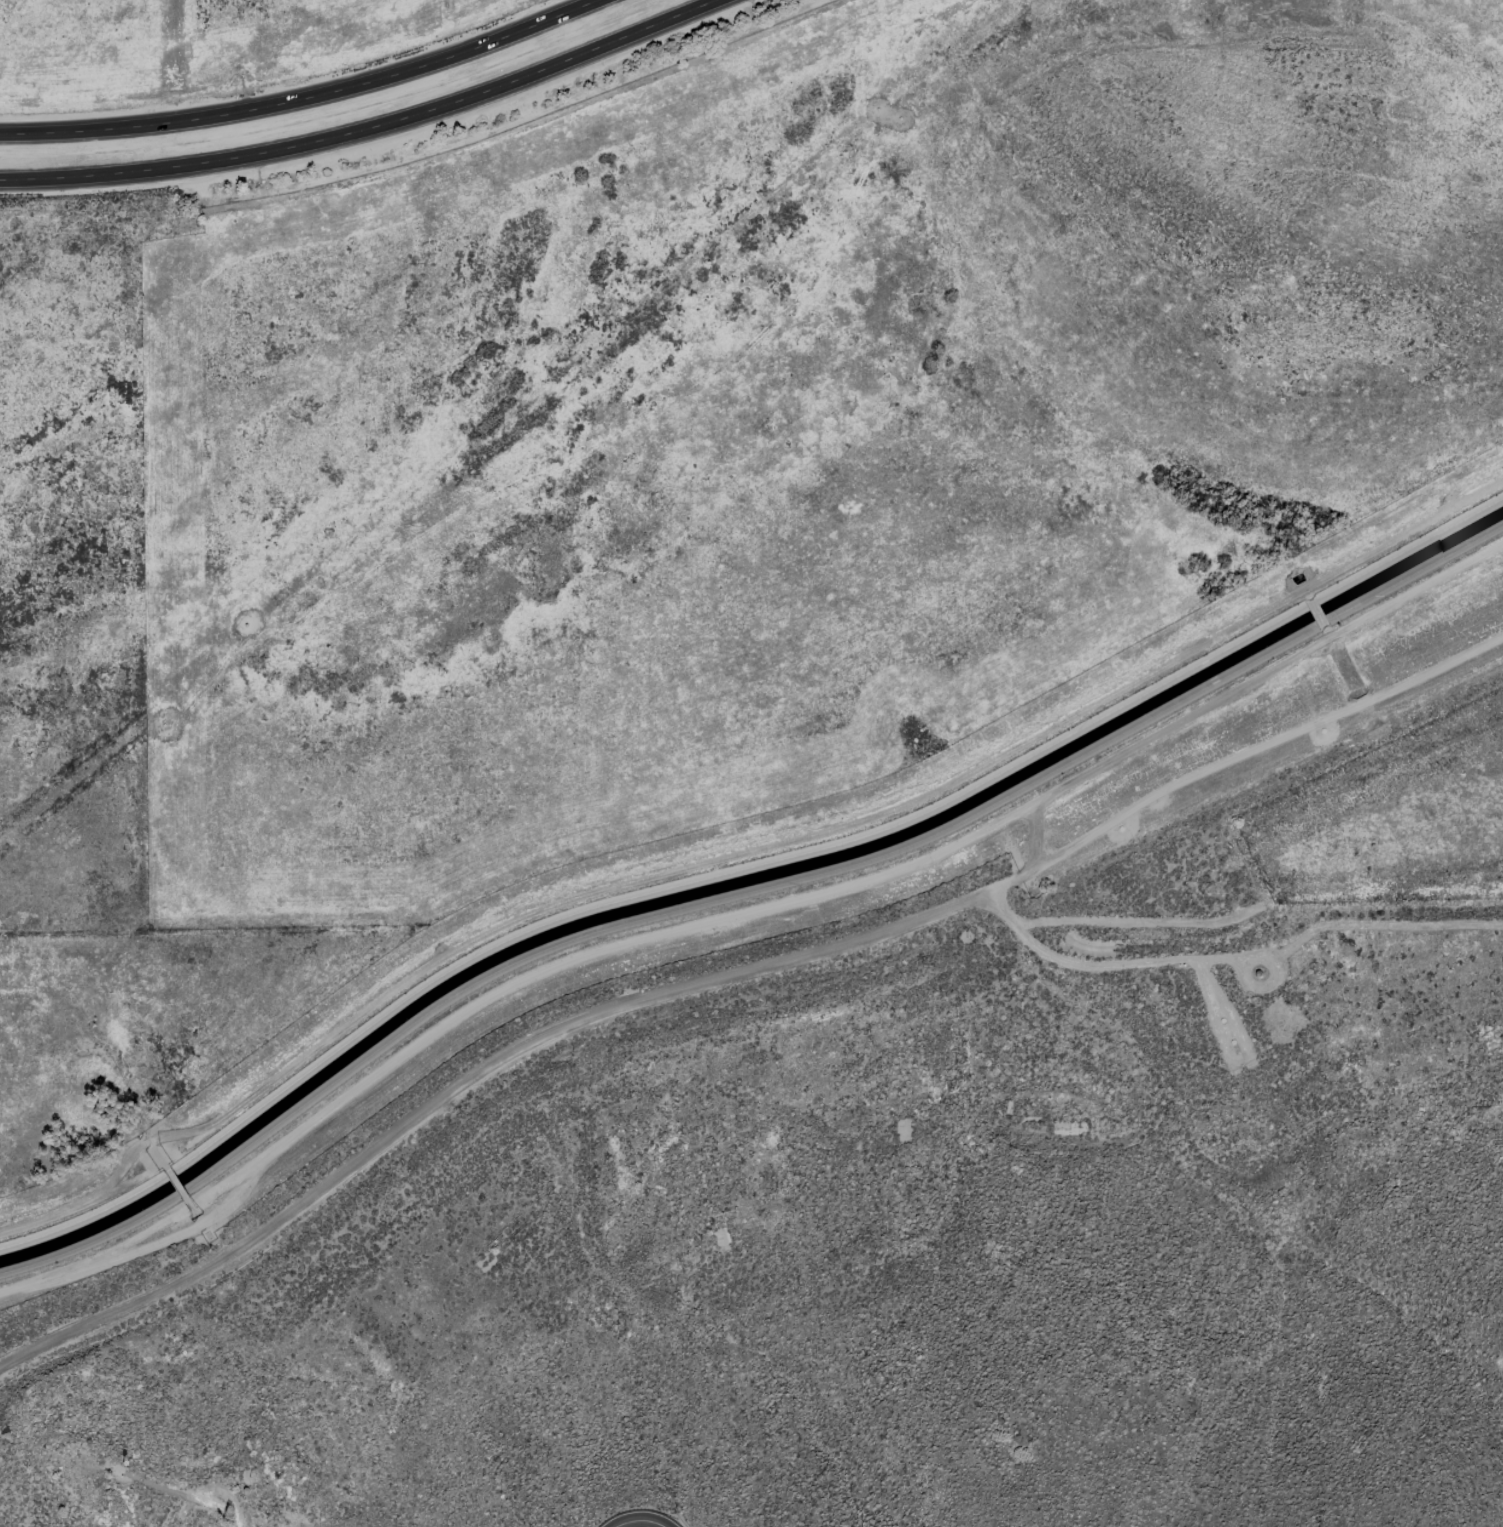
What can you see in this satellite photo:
road: (305, 98)
road: (368, 128)
road: (1315, 613)
road: (1456, 660)
road: (1180, 718)
road: (1216, 767)
road: (624, 942)
road: (1158, 959)
road: (488, 1061)
road: (175, 1183)
road: (234, 1196)
road: (637, 1523)

